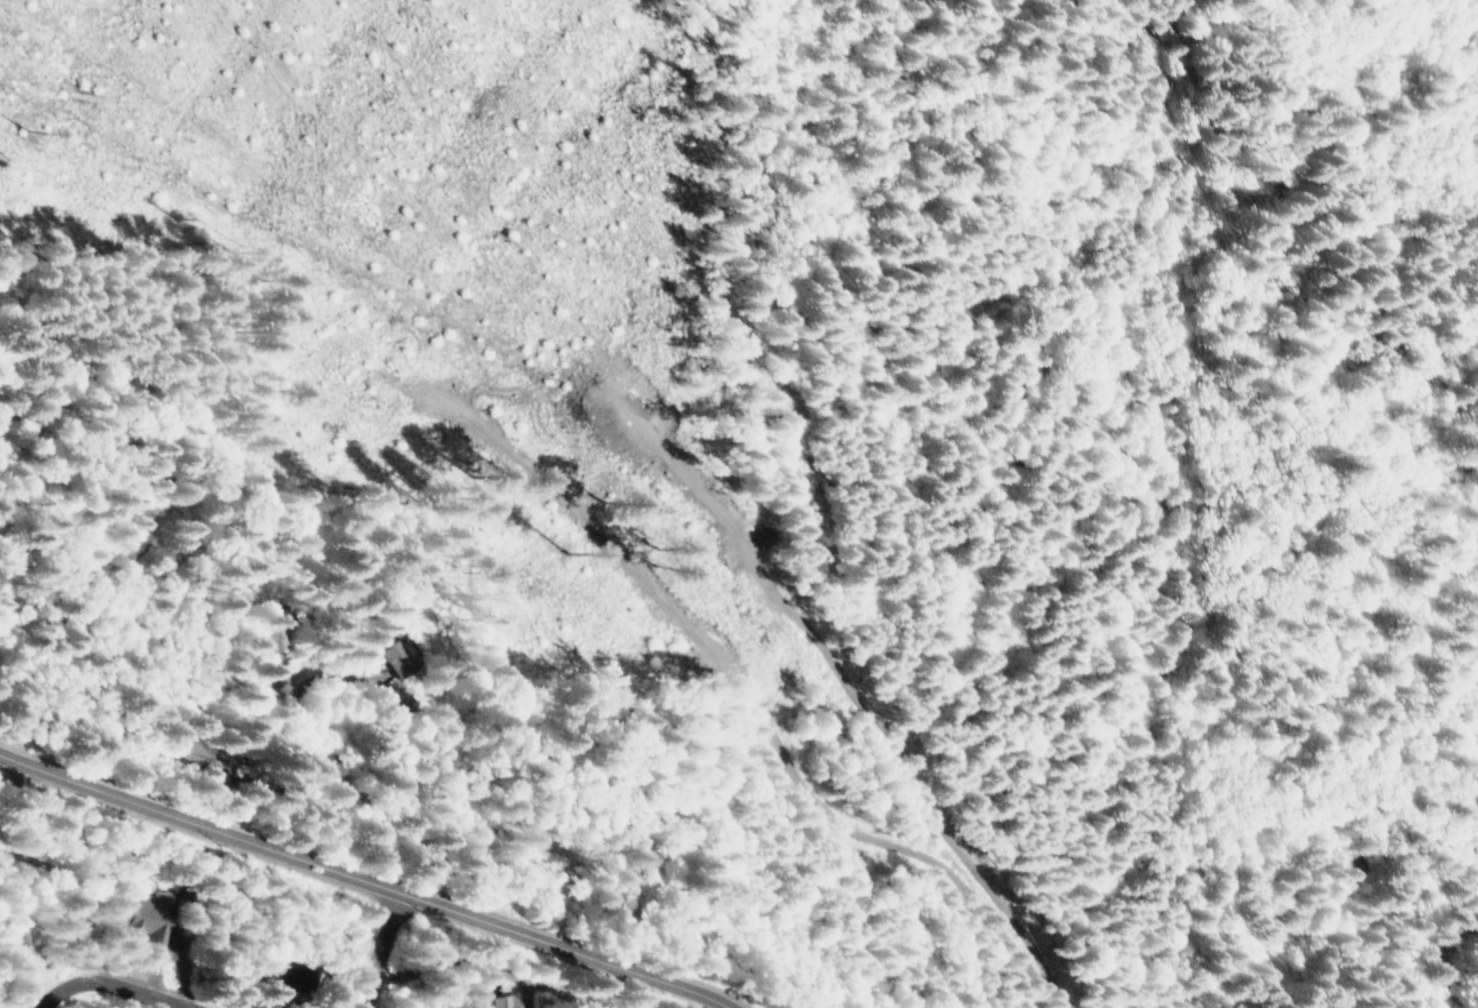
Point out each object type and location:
building: (420, 658)
building: (227, 766)
road: (368, 878)
building: (20, 937)
road: (386, 950)
building: (292, 977)
road: (111, 984)
building: (495, 1001)

